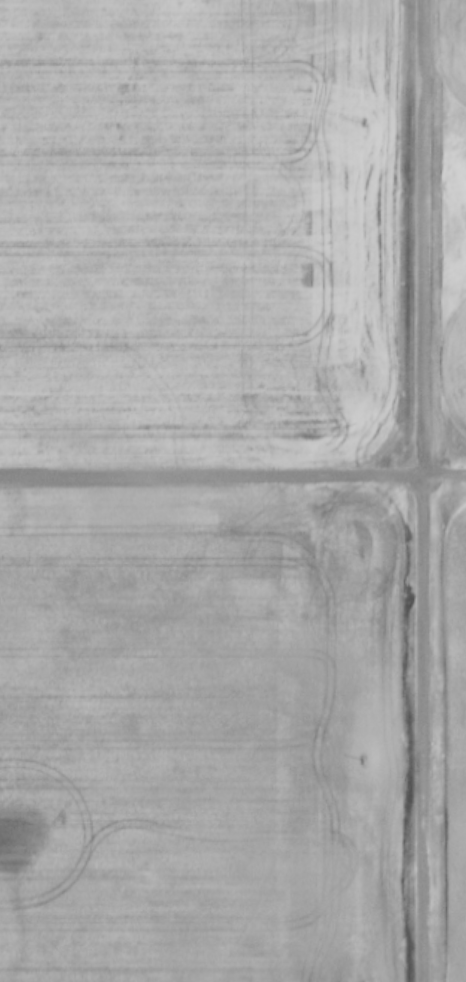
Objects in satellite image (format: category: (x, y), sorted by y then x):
road: (232, 473)
road: (419, 490)

